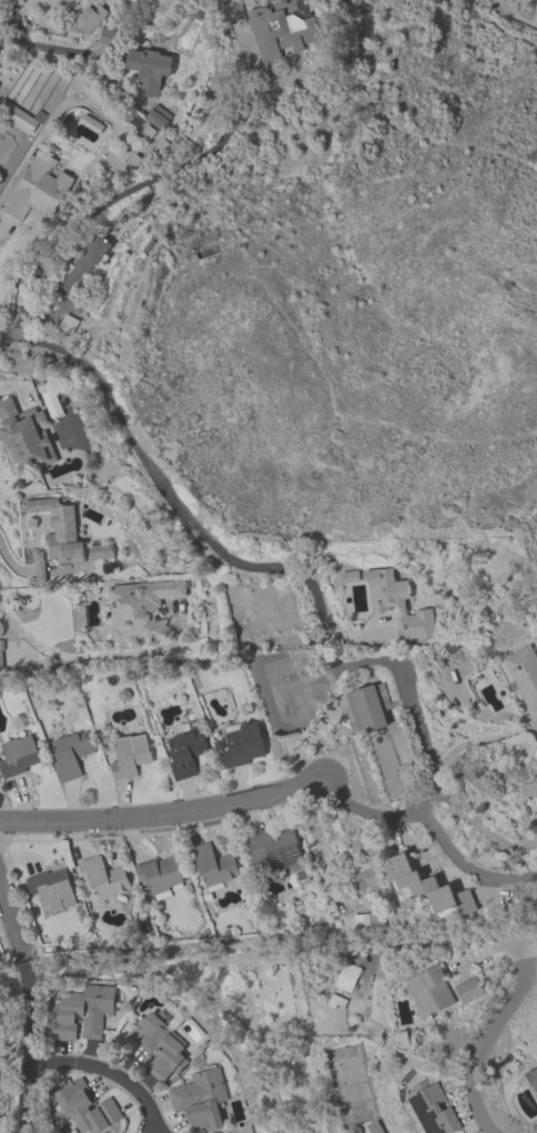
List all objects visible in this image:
building: (95, 1)
road: (463, 4)
road: (469, 4)
road: (515, 13)
road: (3, 17)
building: (84, 19)
building: (282, 28)
road: (500, 32)
building: (105, 36)
road: (42, 47)
building: (145, 69)
building: (87, 85)
road: (363, 98)
building: (39, 115)
building: (155, 115)
building: (21, 120)
building: (89, 123)
building: (144, 131)
road: (353, 135)
building: (159, 142)
building: (133, 158)
building: (36, 186)
road: (453, 200)
road: (108, 203)
road: (3, 222)
building: (204, 254)
building: (80, 264)
road: (511, 302)
building: (68, 324)
road: (8, 332)
road: (294, 333)
building: (49, 401)
building: (23, 436)
road: (166, 489)
building: (58, 529)
building: (99, 550)
building: (38, 566)
building: (397, 605)
building: (140, 609)
road: (74, 656)
road: (355, 664)
building: (523, 672)
building: (366, 710)
building: (243, 743)
road: (459, 746)
building: (185, 752)
building: (70, 753)
building: (19, 755)
building: (130, 756)
building: (529, 788)
road: (536, 810)
road: (162, 816)
road: (432, 826)
road: (479, 826)
building: (274, 849)
building: (213, 866)
building: (159, 876)
building: (103, 878)
building: (51, 887)
building: (425, 889)
road: (14, 925)
building: (347, 977)
building: (438, 991)
building: (82, 1014)
road: (486, 1039)
building: (159, 1048)
road: (29, 1049)
road: (108, 1072)
building: (534, 1079)
building: (201, 1100)
building: (84, 1109)
building: (433, 1110)

